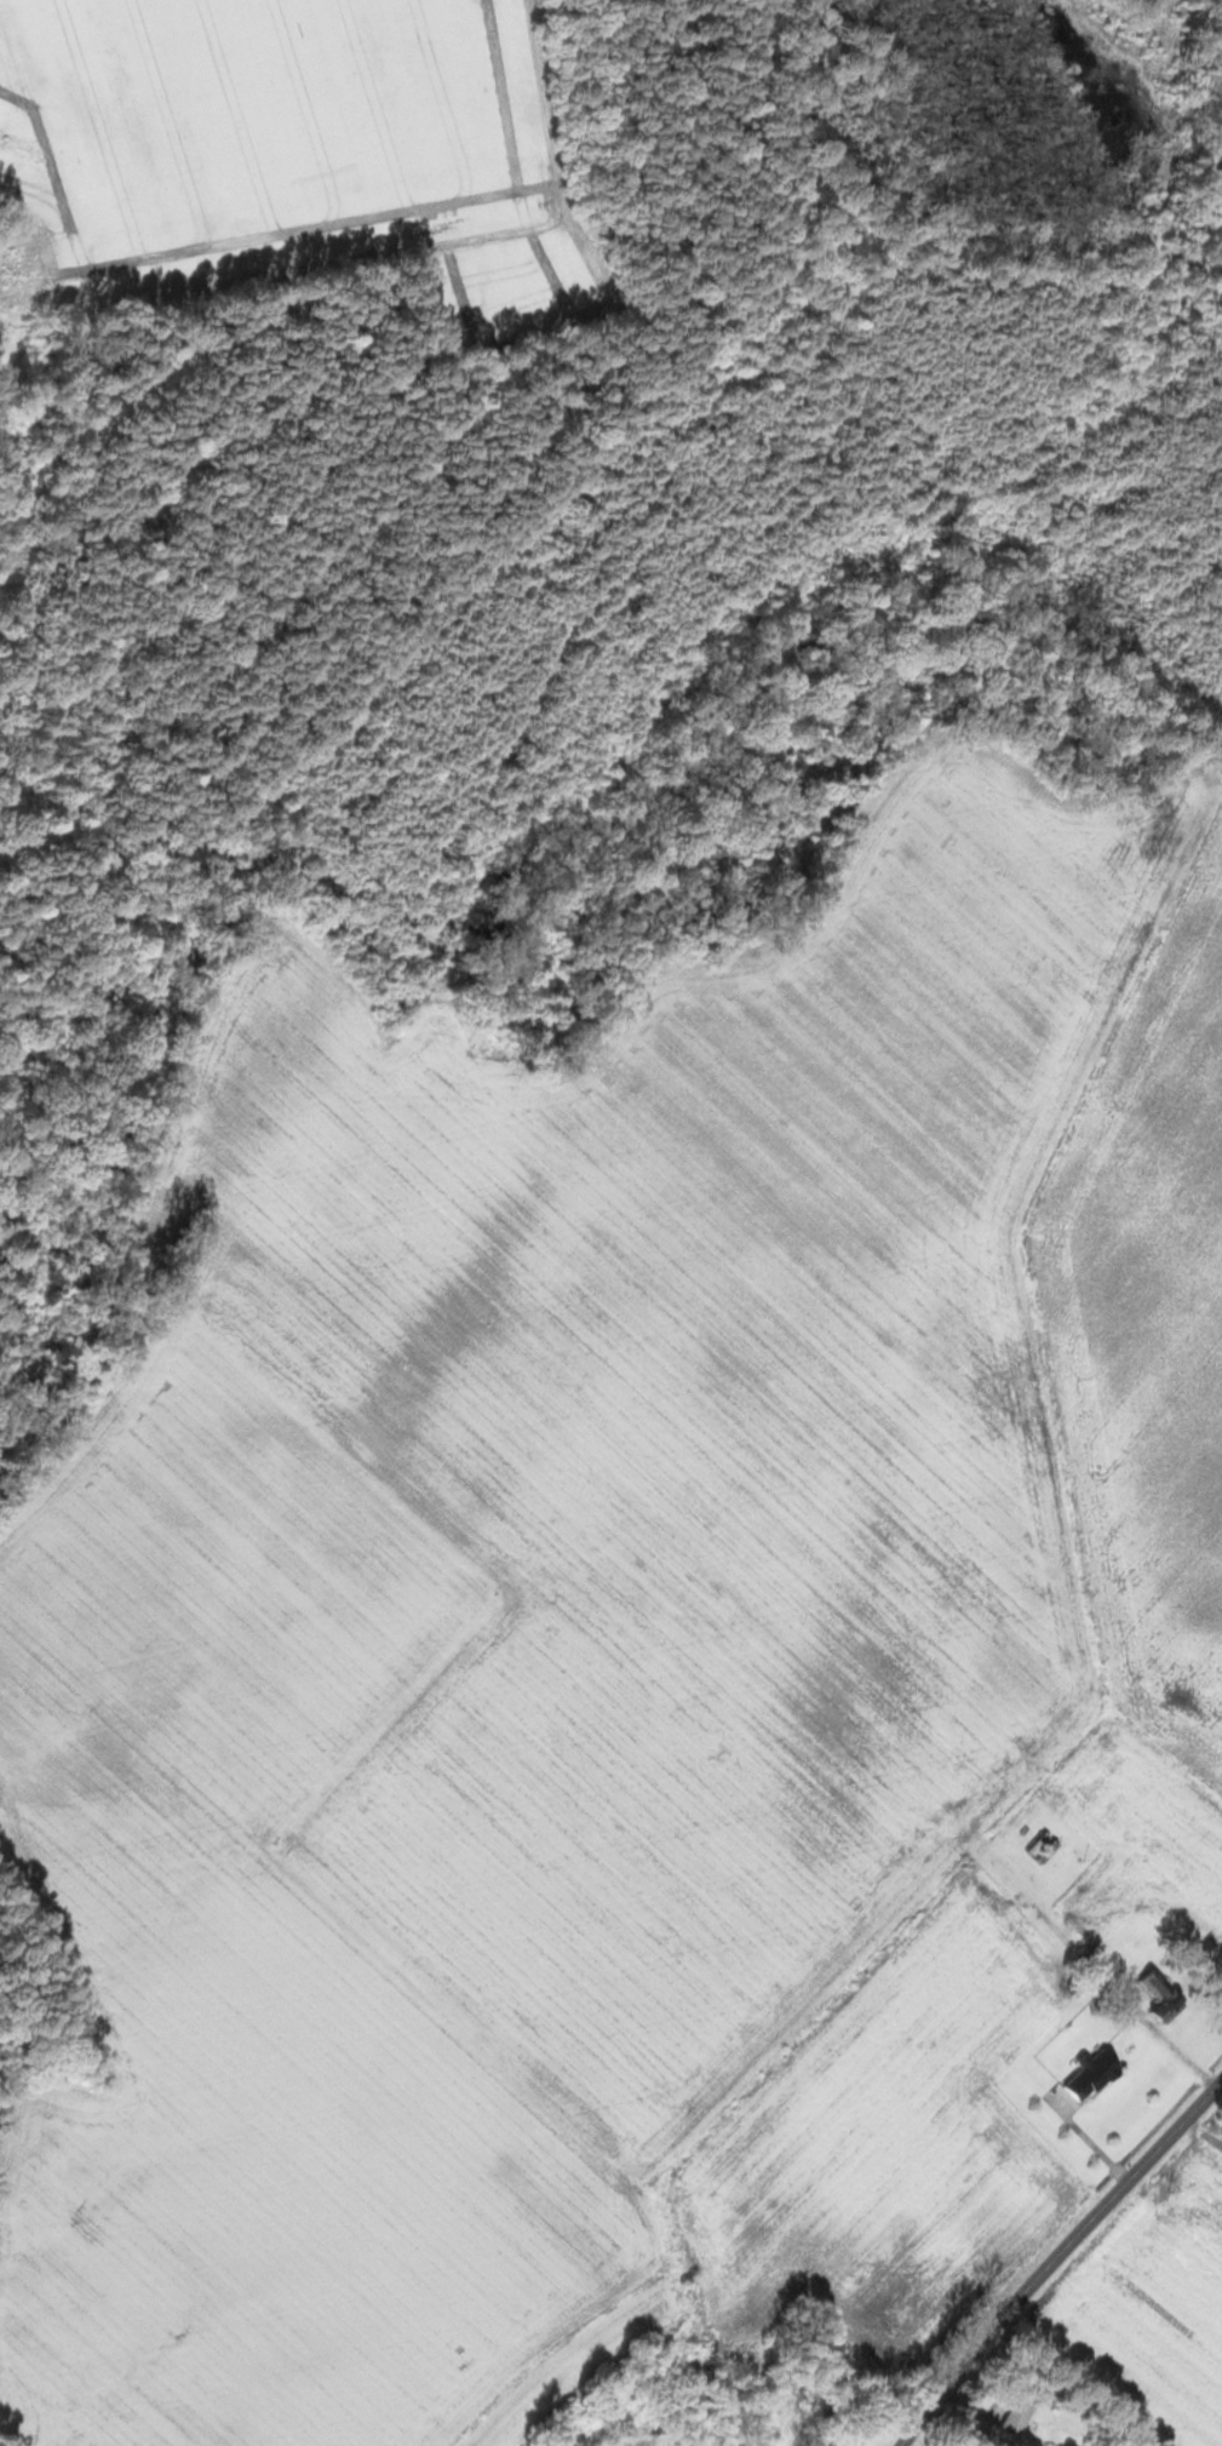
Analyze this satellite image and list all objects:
building: (1161, 1994)
building: (1089, 2073)
road: (1060, 2256)
building: (1016, 2416)

